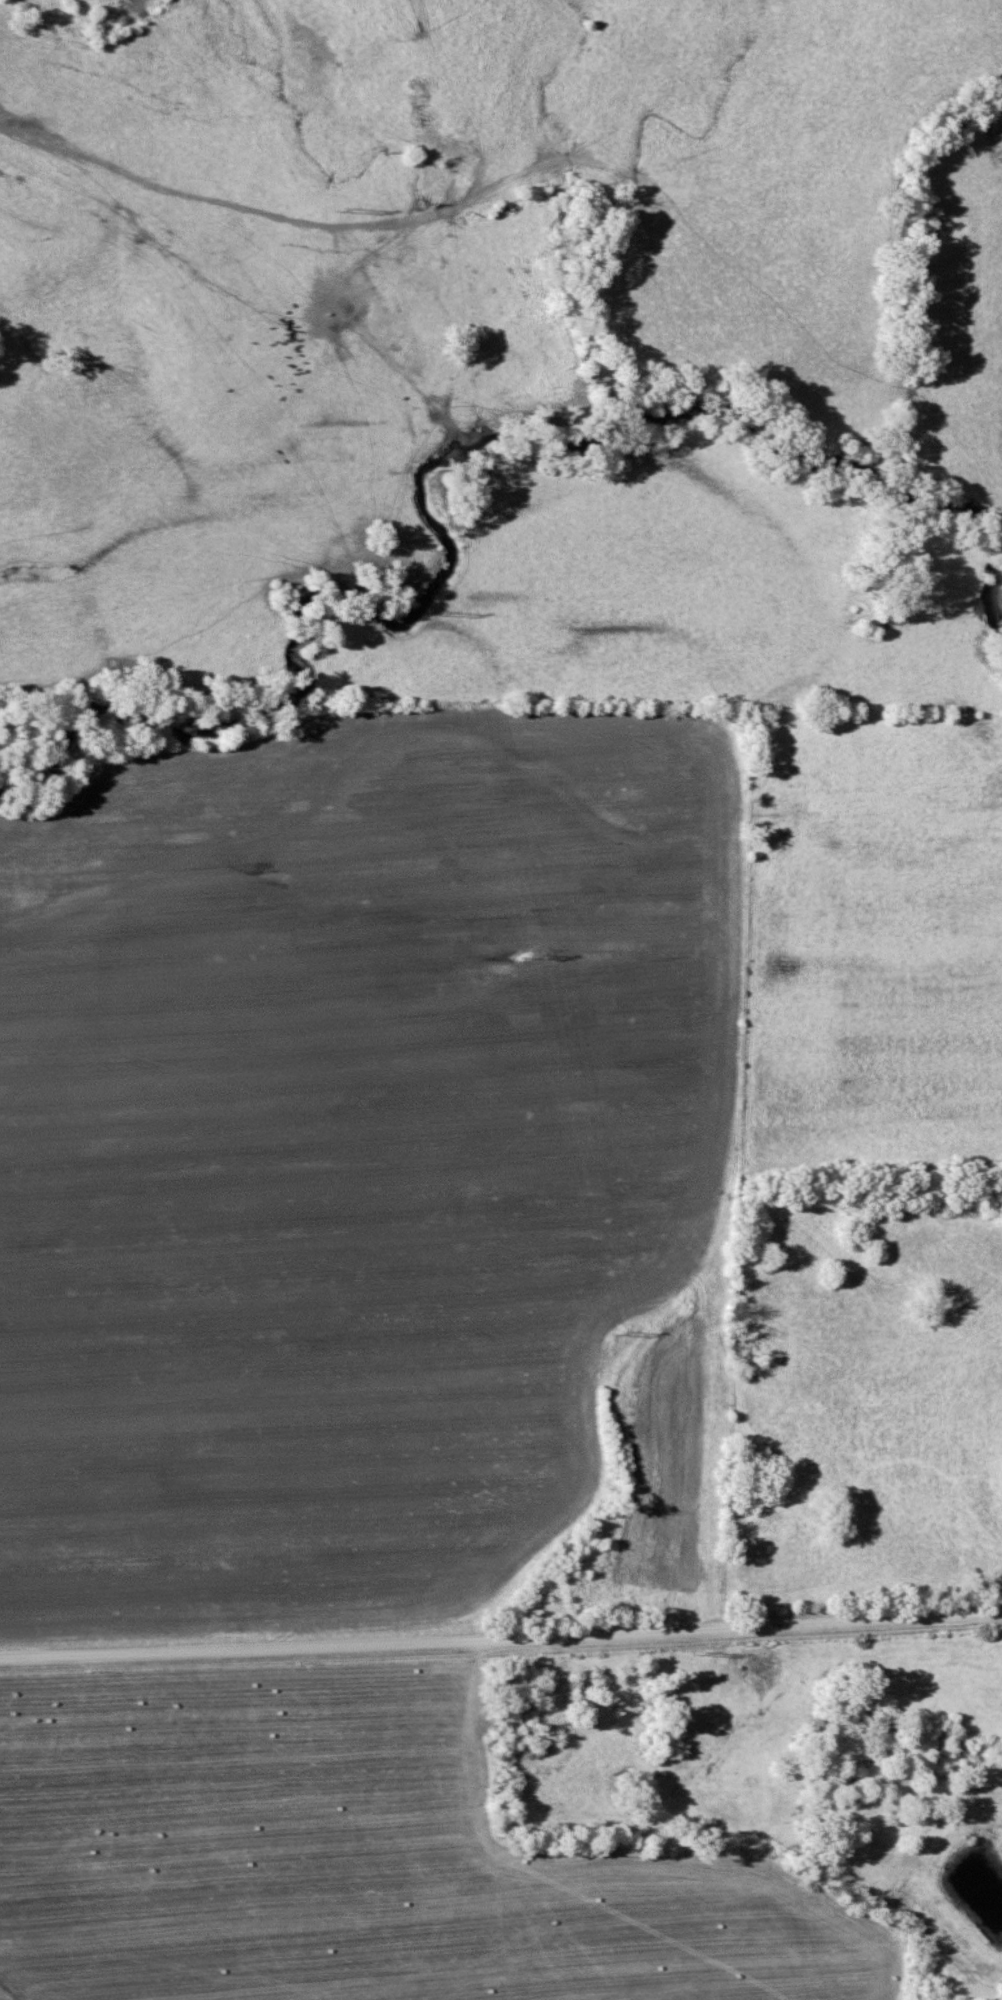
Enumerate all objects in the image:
power tower: (347, 209)
power tower: (451, 607)
power tower: (536, 954)
power tower: (628, 1330)
road: (501, 1631)
power tower: (711, 1651)

